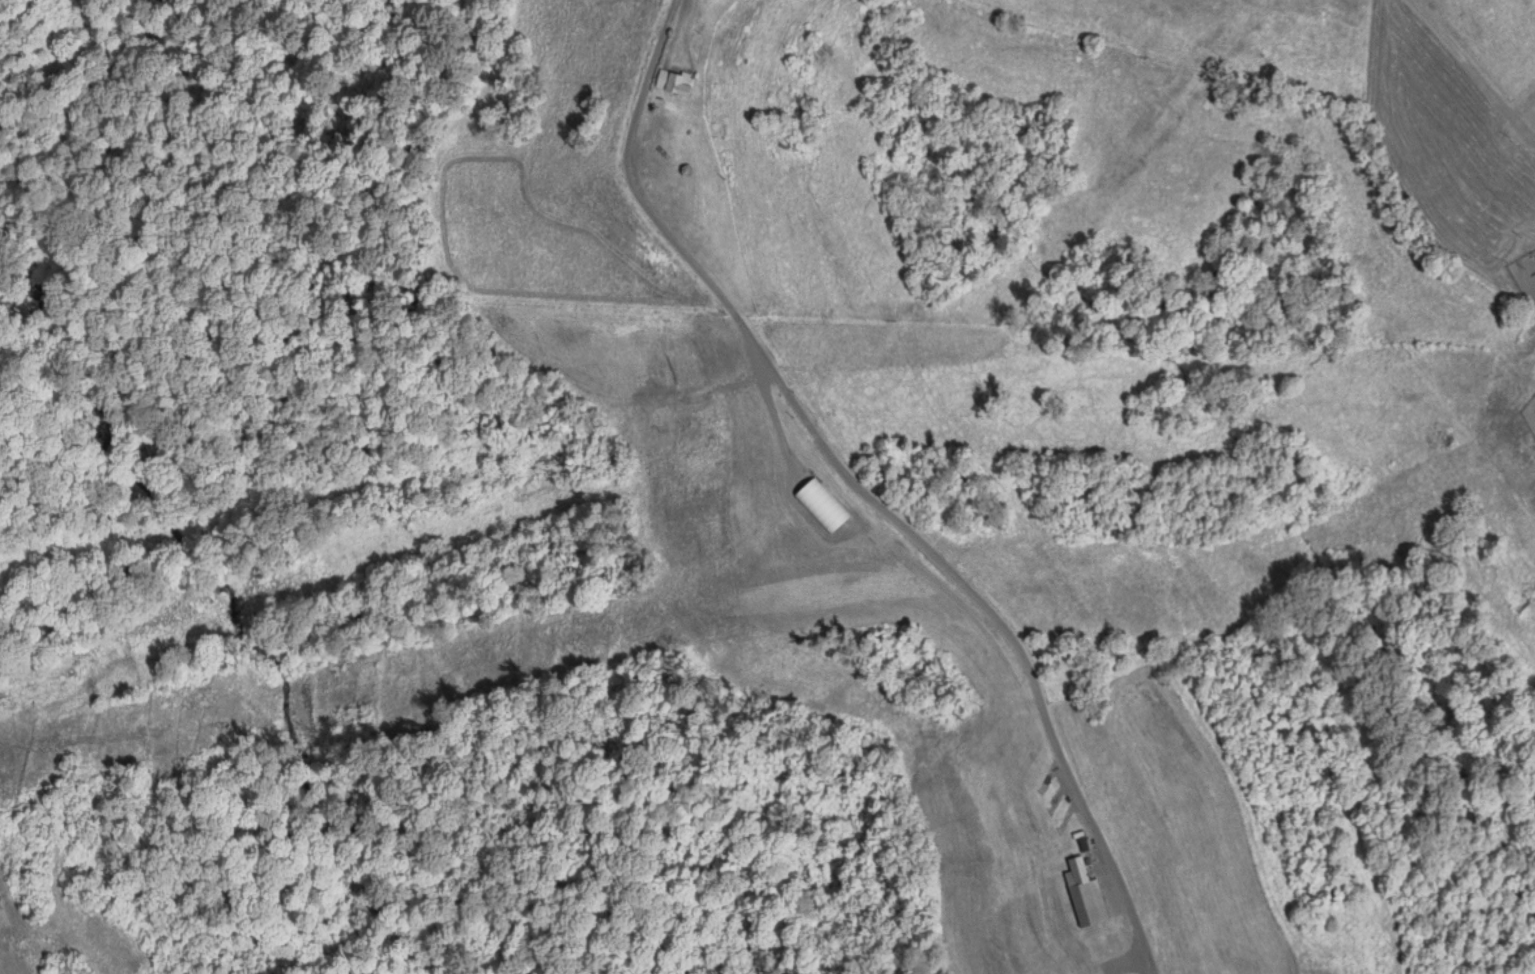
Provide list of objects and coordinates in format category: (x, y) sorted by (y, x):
road: (1469, 71)
building: (673, 85)
road: (862, 492)
building: (1085, 903)

